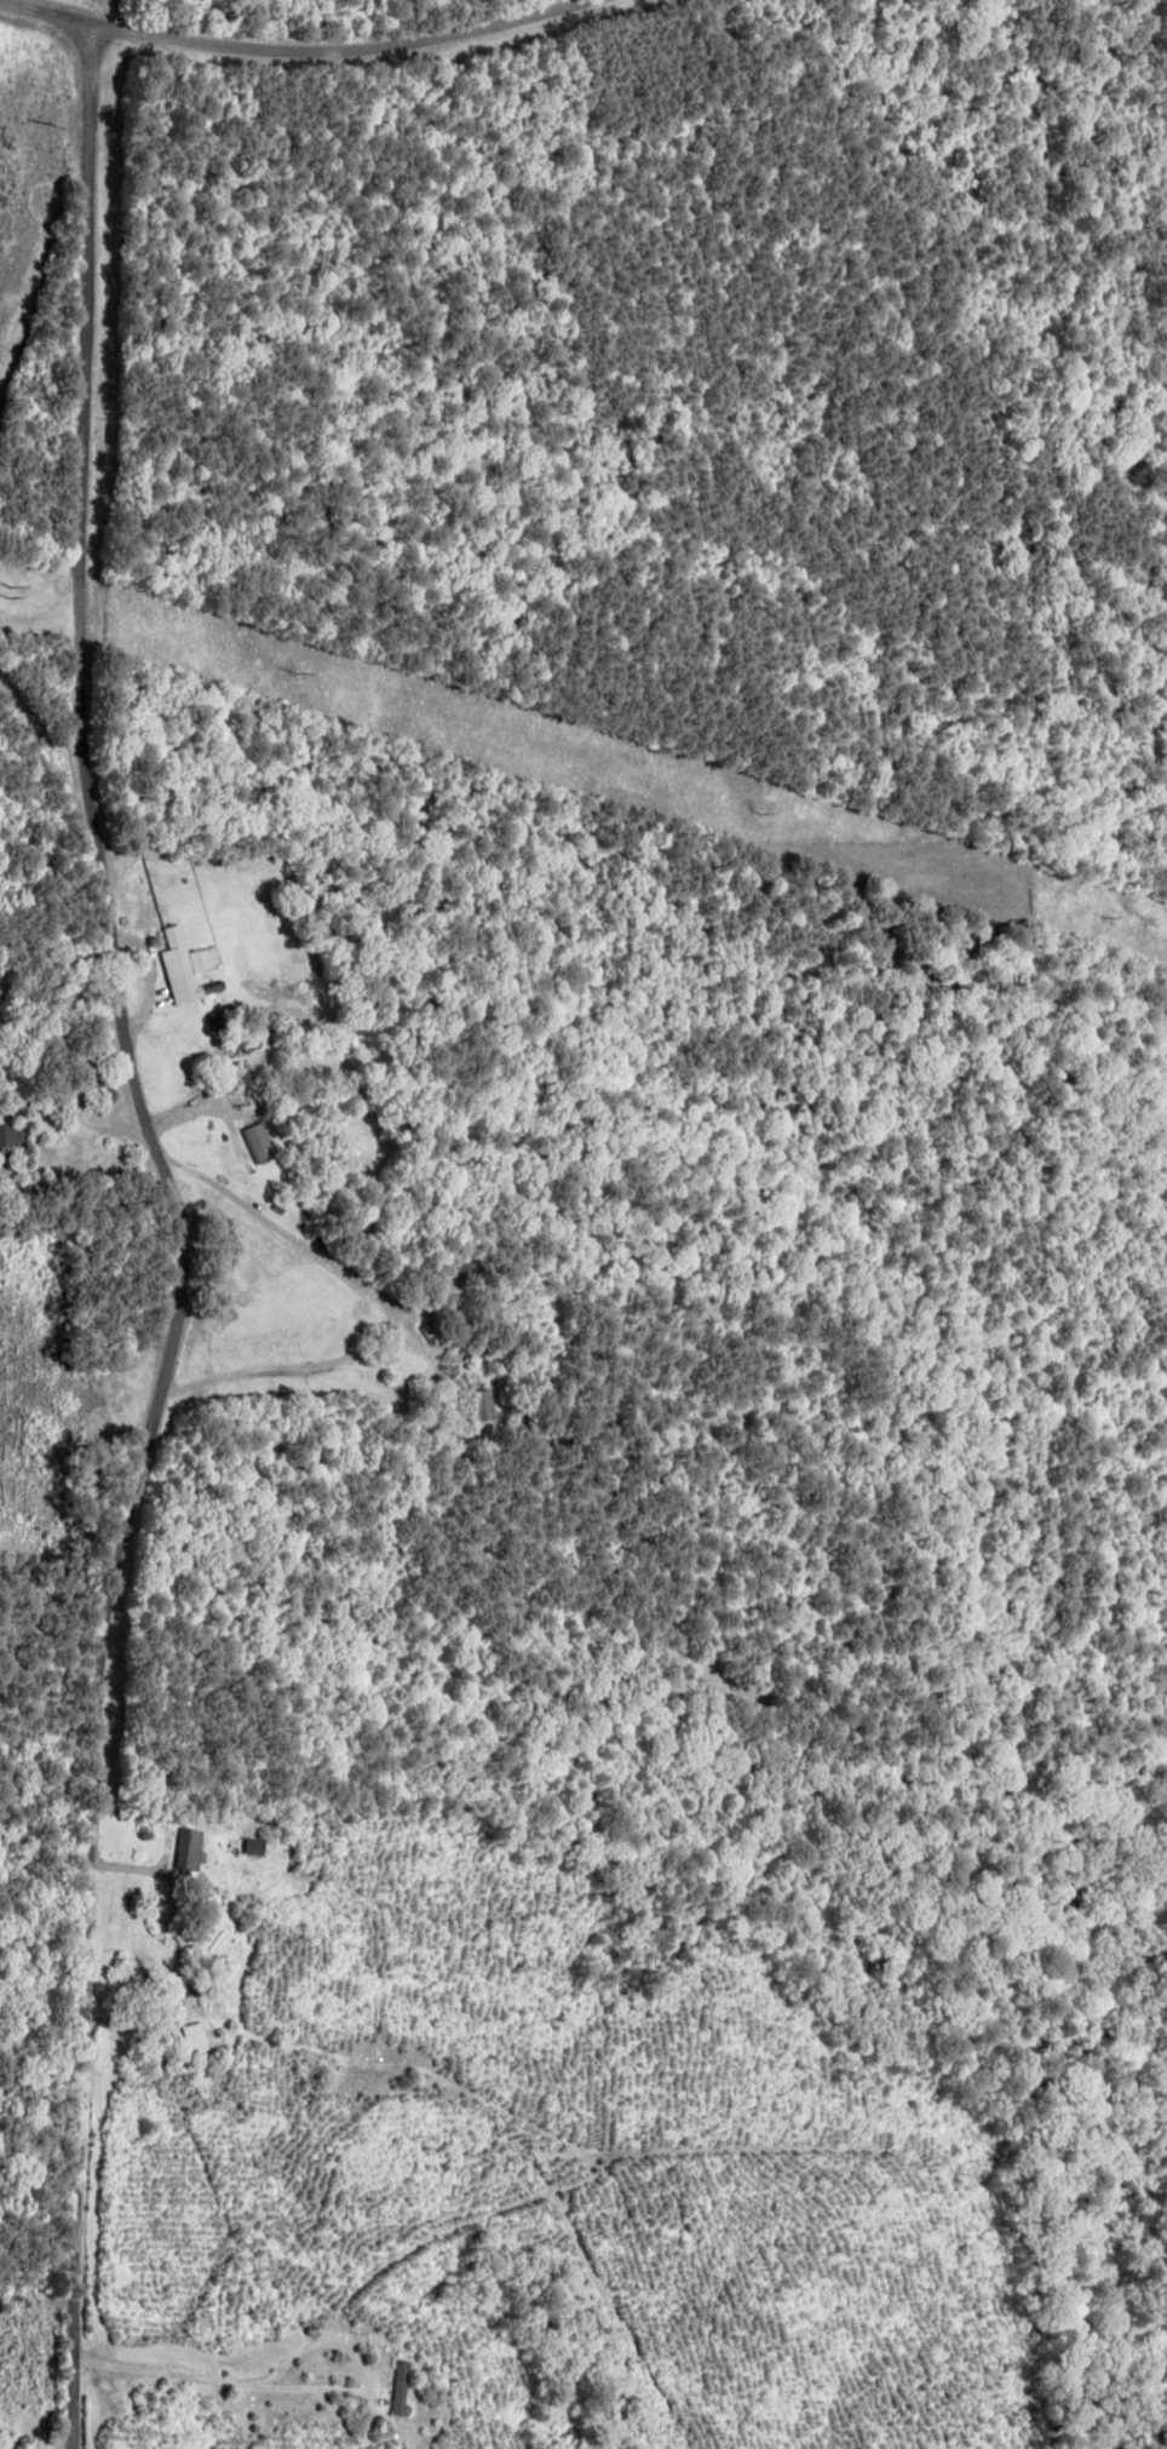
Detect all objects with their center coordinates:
road: (316, 75)
power tower: (2, 597)
power tower: (292, 671)
power tower: (752, 810)
power tower: (1097, 917)
building: (186, 964)
building: (10, 1134)
building: (257, 1141)
road: (163, 1261)
building: (475, 1400)
building: (253, 1845)
building: (186, 1849)
building: (190, 2036)

